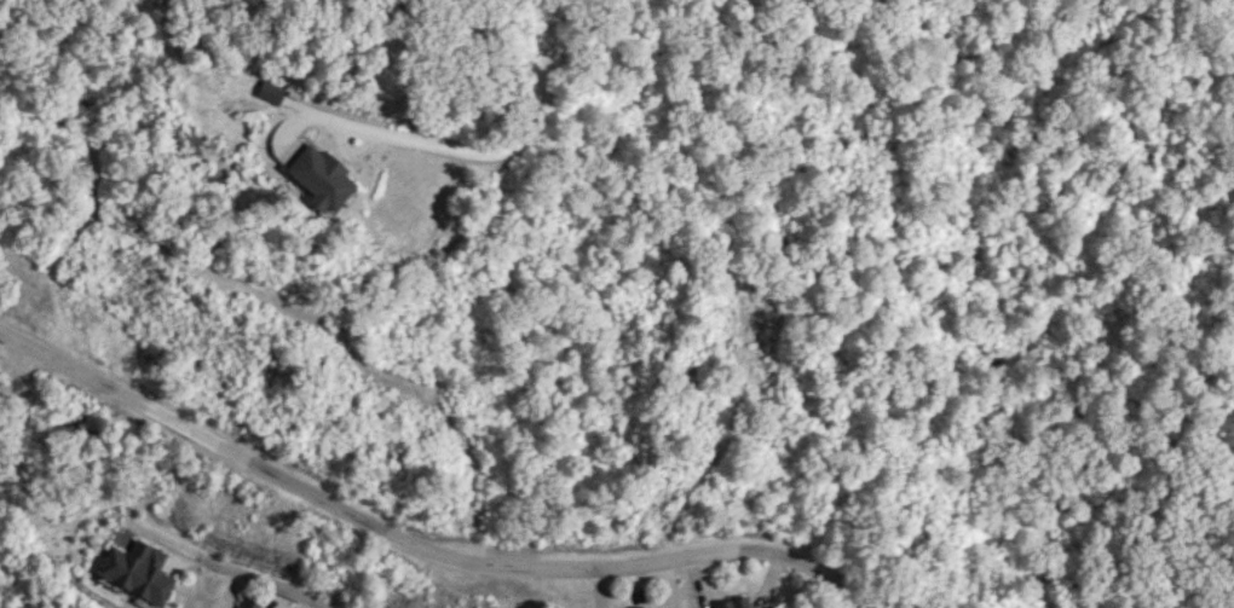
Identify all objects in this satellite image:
road: (524, 132)
building: (305, 166)
road: (420, 551)
building: (133, 572)
road: (272, 586)
building: (730, 603)
building: (248, 604)
building: (636, 607)
building: (766, 607)

